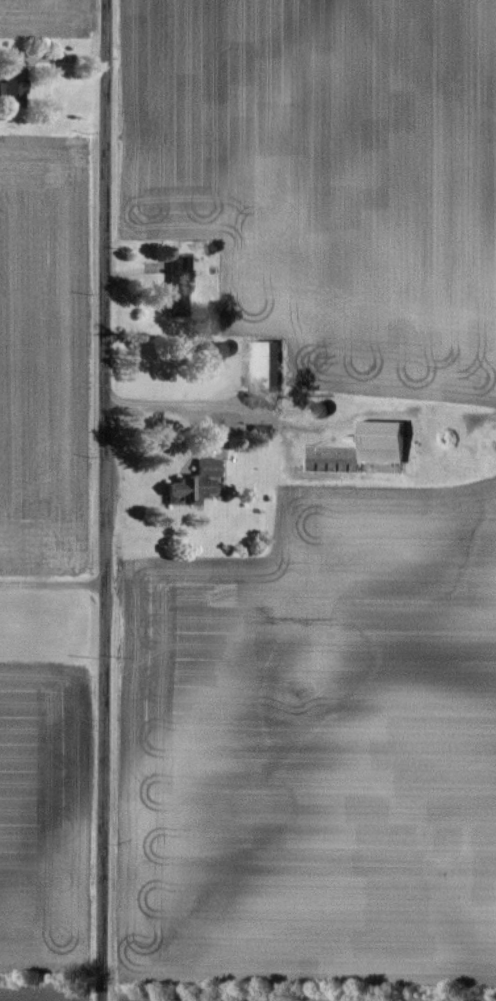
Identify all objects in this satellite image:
building: (14, 84)
building: (175, 307)
road: (171, 406)
building: (386, 443)
road: (107, 500)
road: (54, 583)

